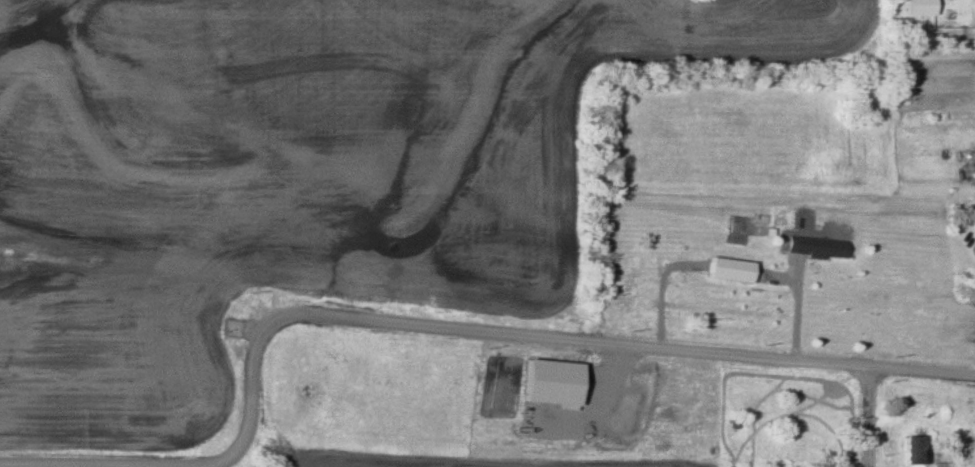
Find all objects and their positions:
building: (816, 246)
road: (552, 340)
road: (868, 417)
building: (962, 431)
building: (915, 451)
road: (218, 461)
road: (56, 465)

